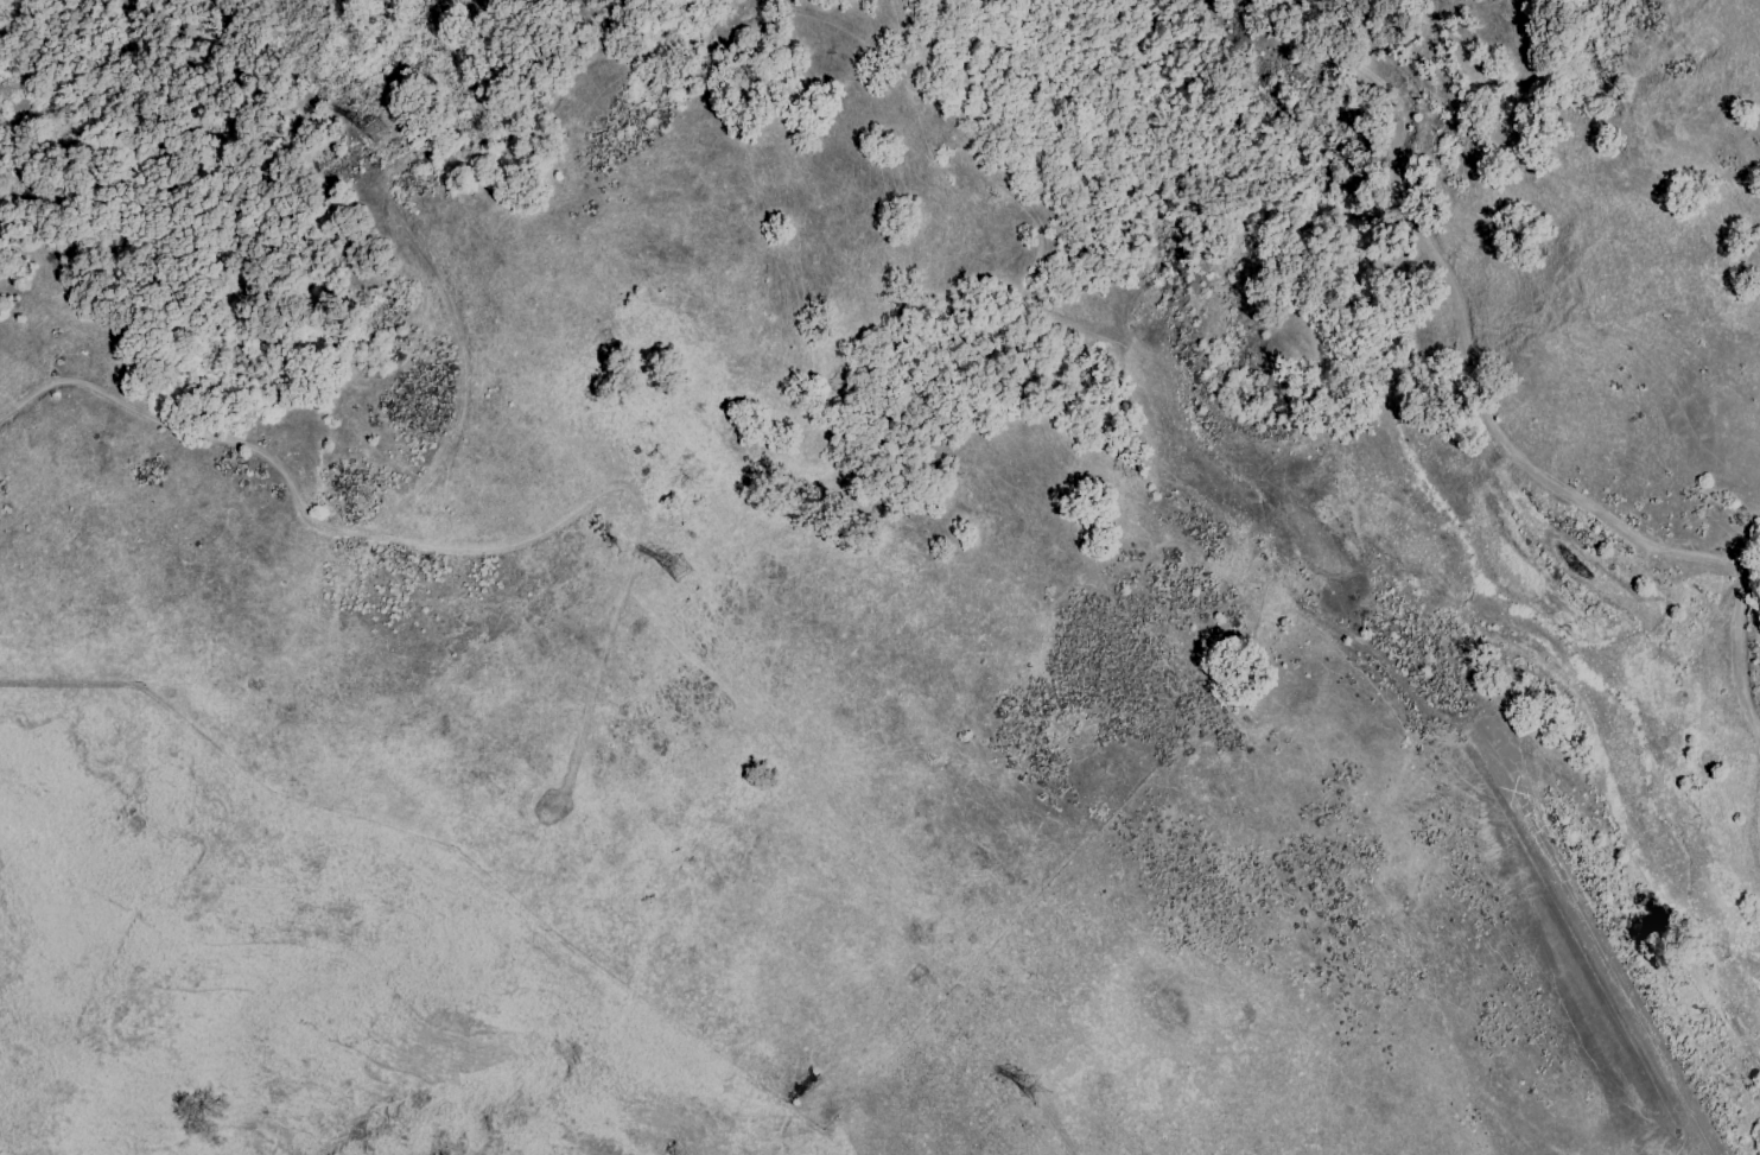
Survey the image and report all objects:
power tower: (370, 135)
road: (1495, 419)
road: (468, 548)
power tower: (674, 570)
road: (792, 776)
airport runway: (1602, 941)
road: (1017, 1072)
power tower: (1043, 1096)

